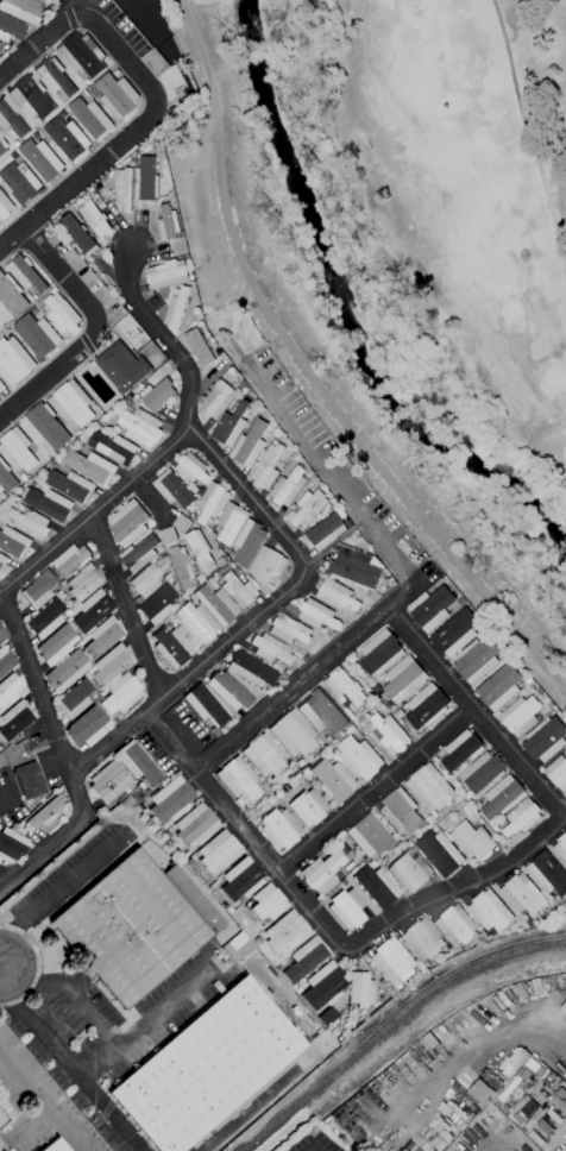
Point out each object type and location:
park: (124, 5)
building: (24, 10)
building: (10, 29)
building: (0, 43)
building: (0, 45)
building: (82, 55)
building: (153, 62)
building: (55, 76)
building: (117, 96)
building: (31, 98)
road: (152, 98)
building: (10, 119)
building: (92, 119)
building: (67, 139)
road: (529, 140)
building: (2, 146)
building: (42, 161)
building: (146, 181)
building: (20, 182)
park: (468, 187)
building: (122, 189)
building: (5, 207)
building: (94, 219)
building: (168, 225)
building: (77, 234)
building: (25, 273)
building: (165, 275)
building: (10, 298)
building: (176, 308)
building: (61, 315)
river: (346, 319)
road: (100, 333)
road: (163, 334)
building: (36, 335)
building: (197, 348)
building: (13, 361)
building: (121, 366)
road: (310, 376)
building: (1, 388)
building: (159, 396)
building: (218, 400)
building: (71, 404)
building: (140, 427)
building: (229, 427)
building: (44, 428)
building: (249, 445)
building: (113, 448)
building: (17, 451)
building: (90, 467)
building: (266, 467)
building: (190, 468)
building: (6, 478)
building: (70, 486)
building: (288, 488)
building: (172, 490)
building: (209, 502)
building: (48, 504)
building: (306, 509)
building: (30, 522)
building: (127, 522)
building: (180, 523)
building: (229, 523)
building: (325, 533)
building: (166, 535)
building: (13, 542)
building: (247, 542)
building: (199, 551)
building: (138, 554)
building: (70, 560)
building: (2, 562)
building: (266, 565)
building: (181, 566)
building: (354, 571)
road: (307, 578)
building: (146, 580)
building: (84, 583)
building: (38, 589)
building: (239, 591)
road: (404, 596)
building: (338, 597)
road: (126, 604)
building: (216, 604)
building: (158, 605)
building: (430, 609)
building: (93, 610)
building: (317, 615)
building: (46, 618)
building: (196, 623)
building: (288, 629)
building: (455, 633)
building: (2, 635)
building: (103, 637)
building: (56, 647)
building: (172, 647)
building: (270, 649)
building: (379, 653)
building: (476, 660)
building: (5, 661)
building: (112, 663)
building: (251, 668)
building: (67, 671)
building: (403, 678)
road: (40, 680)
building: (344, 686)
building: (499, 687)
building: (10, 690)
building: (228, 690)
building: (121, 693)
building: (75, 699)
building: (205, 705)
building: (426, 707)
road: (474, 710)
building: (322, 712)
building: (520, 716)
building: (15, 719)
building: (88, 728)
building: (293, 734)
building: (388, 734)
building: (545, 740)
building: (460, 750)
building: (264, 755)
building: (359, 757)
building: (138, 763)
building: (482, 773)
building: (558, 773)
building: (239, 779)
building: (30, 780)
building: (333, 780)
building: (109, 781)
building: (429, 788)
road: (382, 792)
road: (5, 794)
building: (501, 798)
building: (171, 800)
building: (309, 807)
building: (48, 812)
building: (400, 812)
building: (521, 818)
building: (196, 825)
building: (281, 828)
building: (370, 835)
building: (472, 841)
building: (11, 845)
building: (560, 848)
building: (219, 853)
building: (440, 853)
building: (322, 872)
building: (409, 872)
building: (548, 874)
building: (243, 880)
building: (377, 886)
road: (57, 894)
building: (522, 895)
building: (269, 902)
building: (347, 908)
building: (489, 912)
building: (454, 925)
road: (333, 927)
building: (130, 929)
building: (288, 932)
building: (421, 941)
building: (231, 951)
building: (307, 958)
building: (390, 960)
road: (38, 967)
road: (1, 969)
building: (326, 986)
building: (361, 989)
road: (71, 993)
road: (146, 1024)
railway: (391, 1024)
road: (463, 1039)
road: (67, 1063)
building: (207, 1068)
road: (540, 1092)
road: (40, 1101)
road: (253, 1105)
building: (2, 1118)
road: (29, 1122)
building: (55, 1146)

